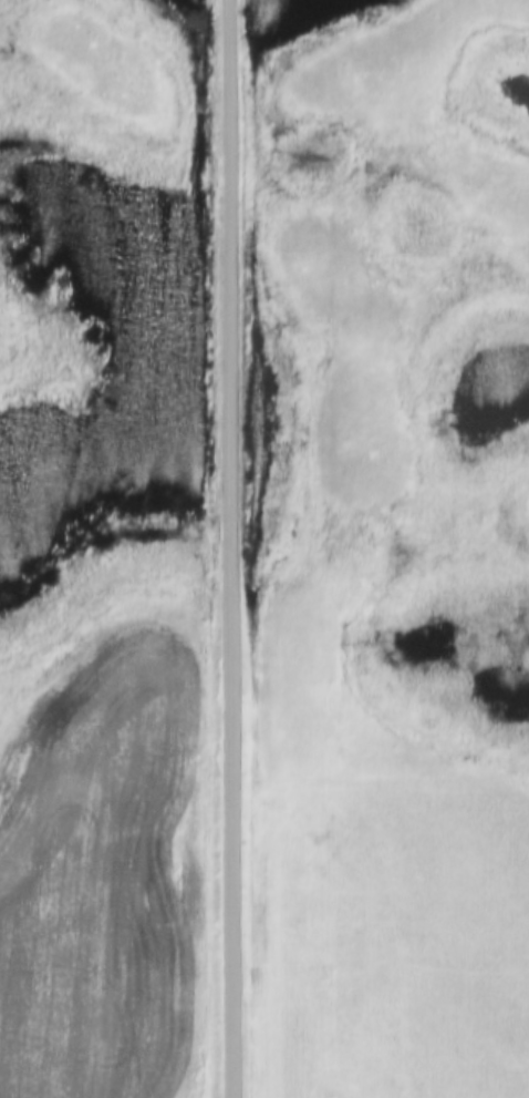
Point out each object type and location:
road: (232, 548)

